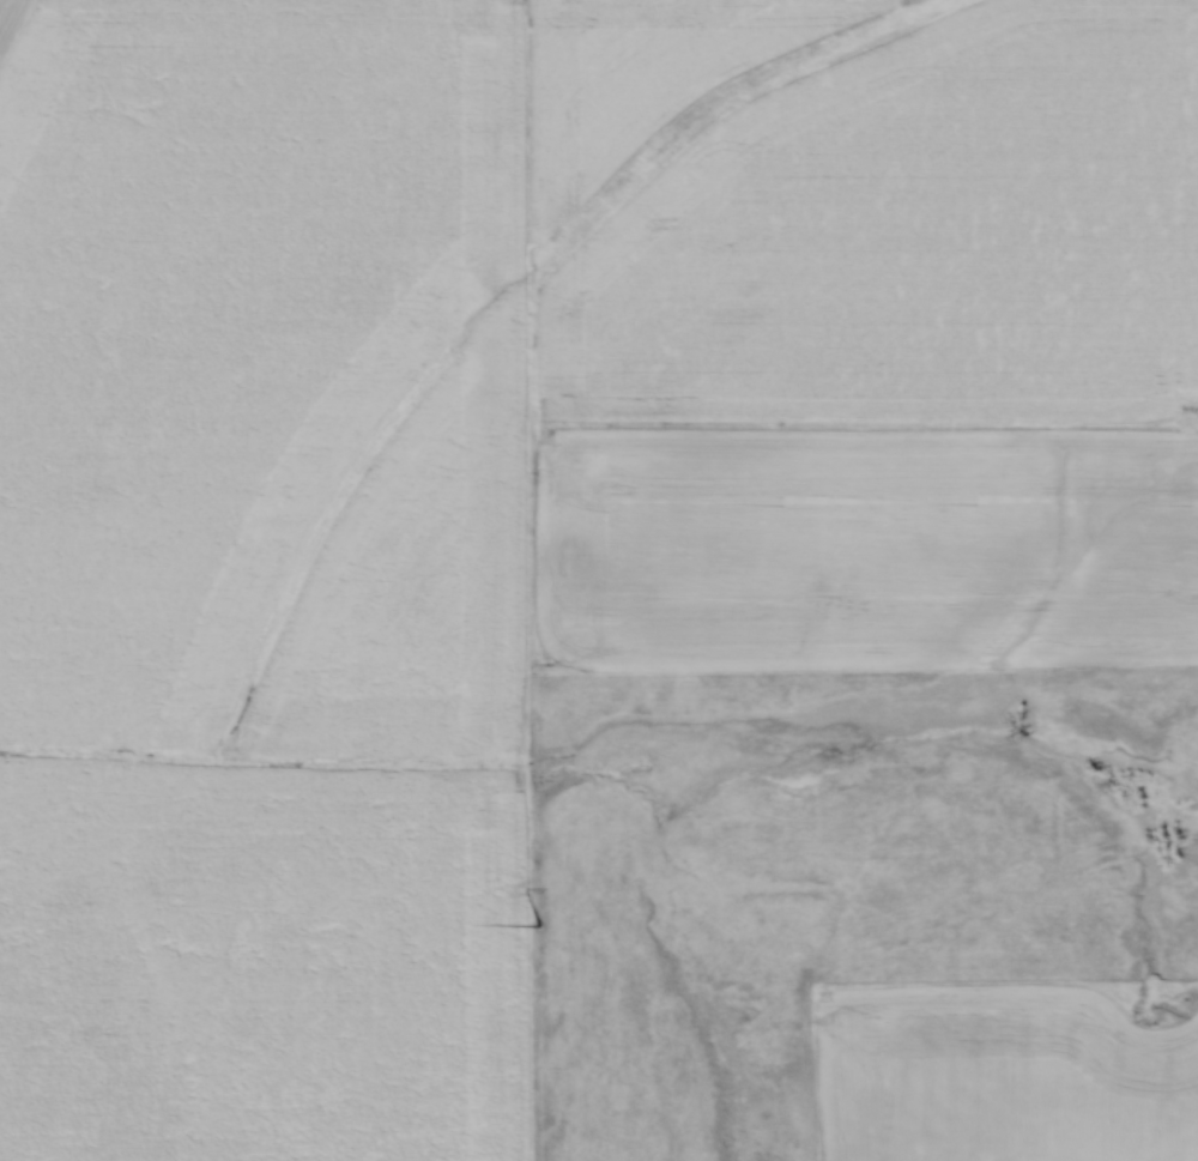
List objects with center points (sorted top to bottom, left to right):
power tower: (540, 925)

